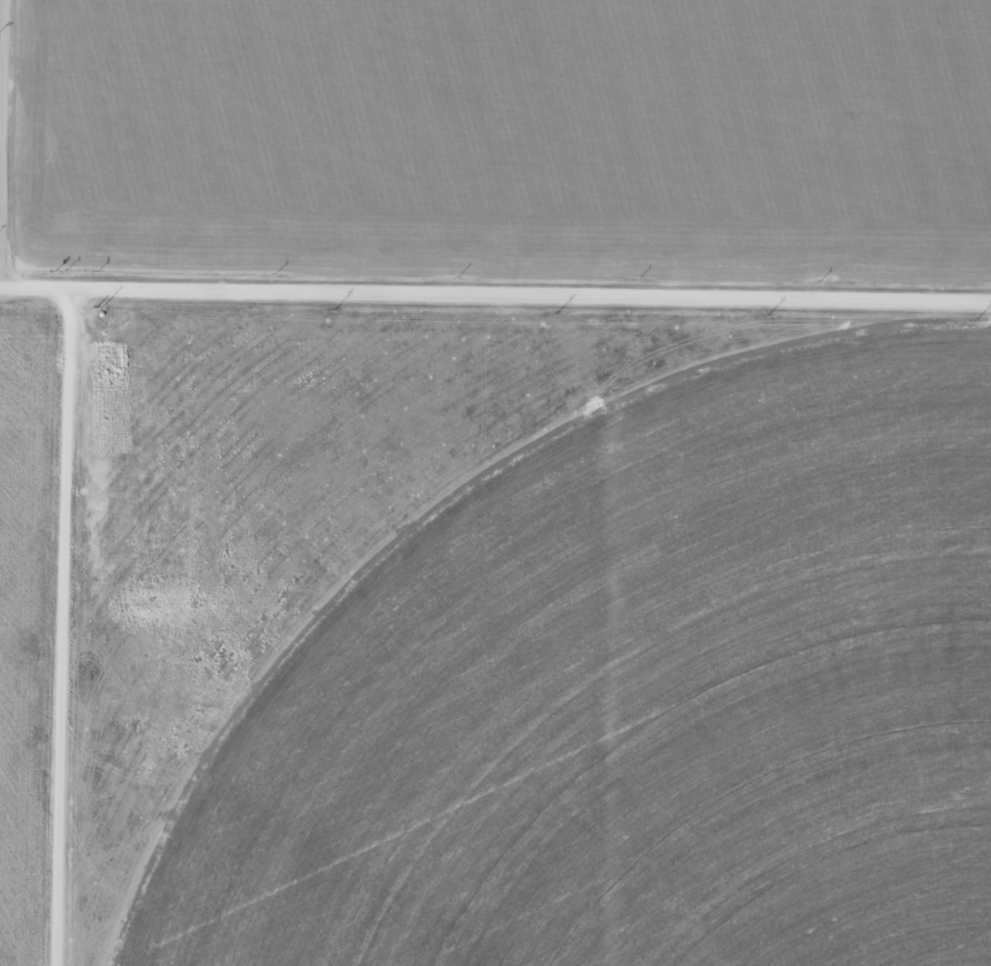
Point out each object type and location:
road: (495, 297)
road: (60, 628)

